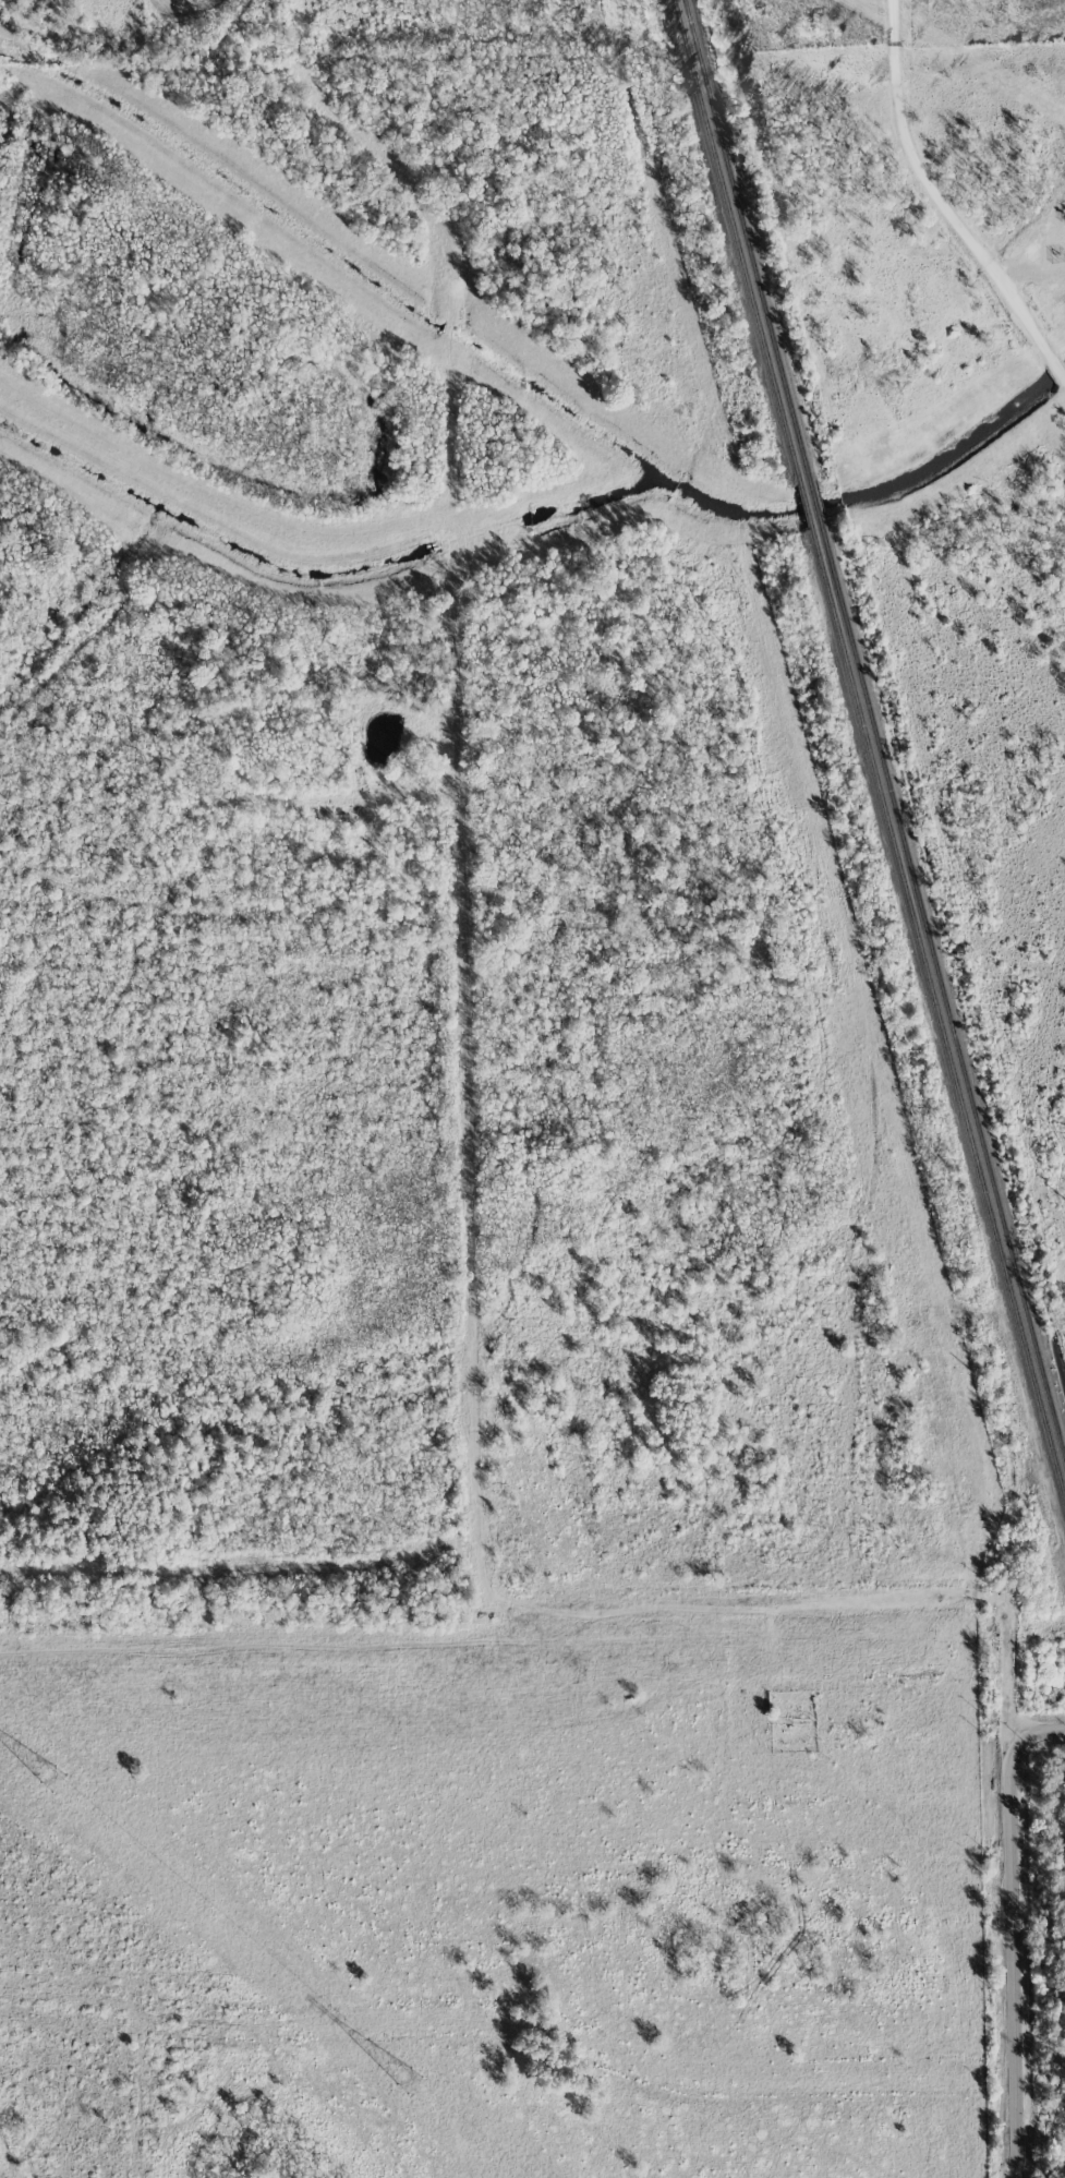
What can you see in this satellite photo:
road: (943, 202)
railway: (746, 239)
railway: (737, 241)
railway: (815, 502)
railway: (806, 504)
railway: (942, 994)
railway: (937, 1013)
road: (331, 1251)
road: (480, 1431)
road: (1041, 1730)
power tower: (215, 1916)
road: (1012, 1957)
power tower: (499, 2157)

